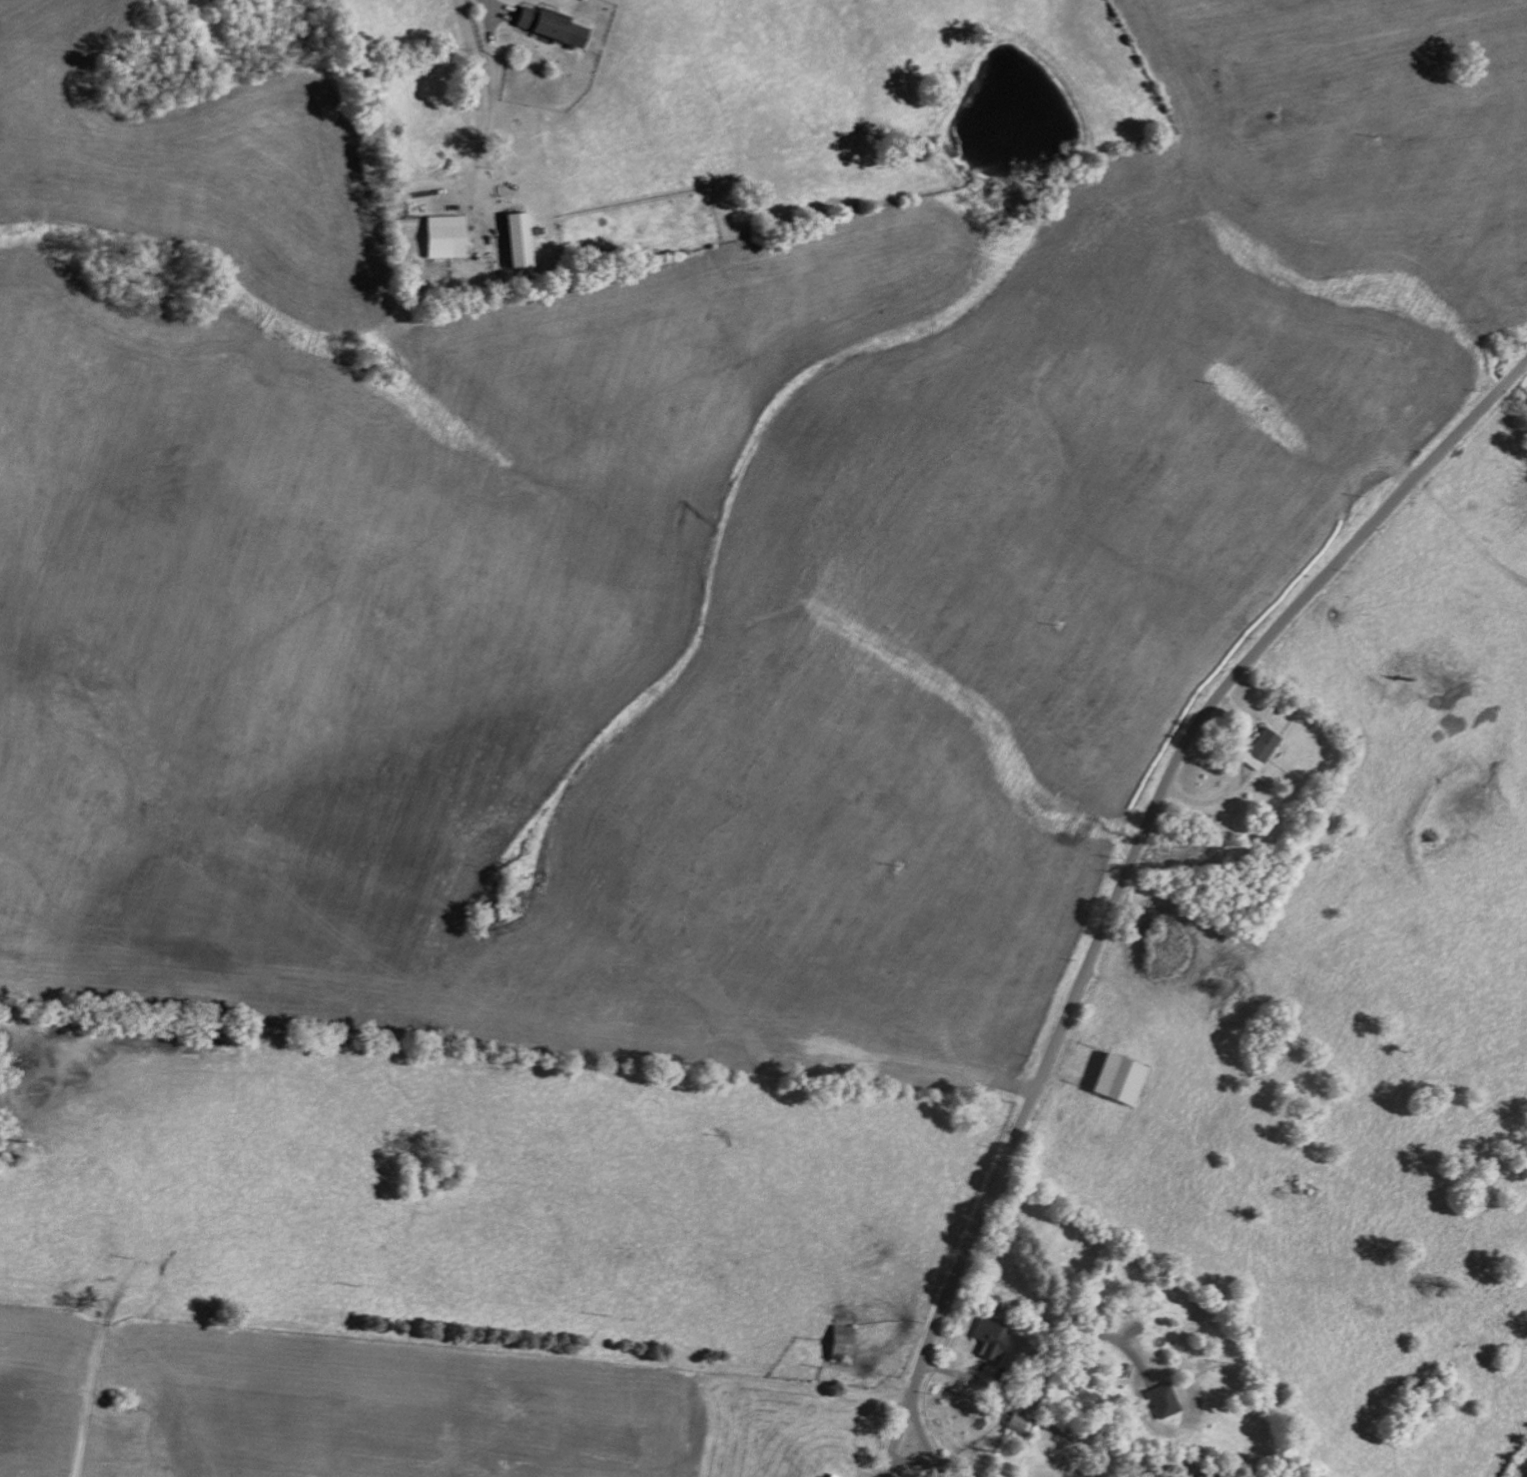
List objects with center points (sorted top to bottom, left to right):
building: (547, 26)
road: (484, 103)
building: (443, 236)
building: (514, 236)
building: (1259, 749)
road: (1145, 830)
building: (1115, 1080)
building: (990, 1339)
building: (838, 1342)
building: (1163, 1400)
building: (1014, 1423)
road: (898, 1433)
road: (923, 1436)
road: (913, 1459)
building: (1208, 1473)
building: (824, 1476)

